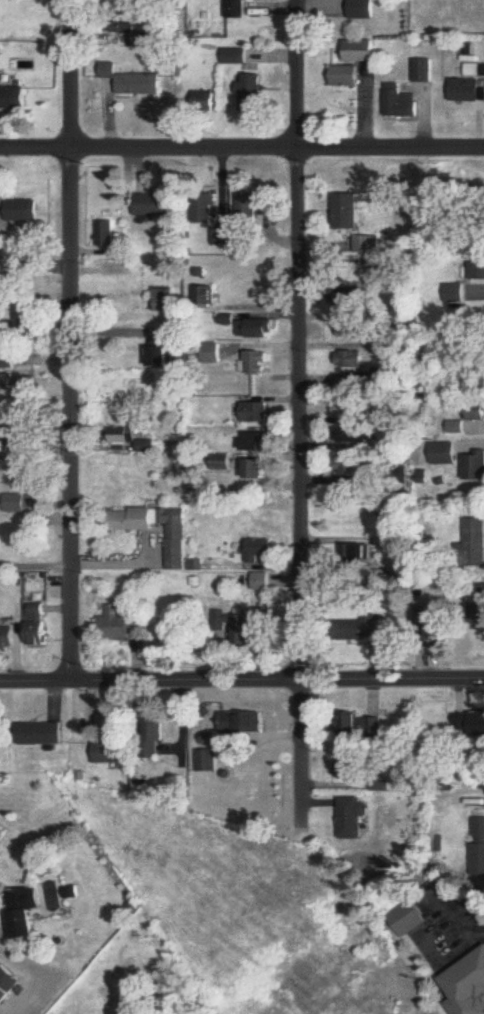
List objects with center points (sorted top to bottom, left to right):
building: (236, 9)
building: (363, 9)
building: (127, 29)
building: (361, 52)
building: (236, 57)
building: (2, 65)
building: (423, 71)
building: (347, 77)
building: (135, 82)
building: (254, 91)
building: (467, 91)
building: (14, 99)
building: (401, 103)
road: (242, 153)
building: (155, 206)
building: (206, 209)
building: (250, 210)
building: (25, 211)
building: (348, 212)
building: (107, 234)
building: (223, 237)
building: (368, 245)
building: (478, 271)
building: (456, 294)
building: (207, 296)
building: (353, 298)
building: (165, 300)
building: (228, 320)
building: (258, 329)
building: (357, 330)
road: (75, 342)
building: (214, 353)
building: (160, 354)
building: (353, 360)
building: (8, 361)
building: (260, 364)
building: (359, 383)
building: (23, 387)
building: (354, 410)
building: (475, 411)
building: (257, 413)
road: (302, 418)
building: (458, 427)
building: (126, 435)
building: (358, 436)
building: (260, 442)
building: (149, 446)
building: (446, 454)
building: (474, 466)
building: (351, 467)
building: (258, 470)
building: (21, 504)
building: (133, 520)
building: (174, 538)
building: (476, 544)
building: (259, 551)
building: (357, 556)
building: (261, 583)
building: (478, 615)
building: (38, 625)
building: (123, 626)
building: (435, 626)
building: (221, 629)
building: (360, 630)
building: (243, 631)
building: (263, 632)
building: (8, 637)
road: (241, 684)
building: (242, 723)
building: (469, 724)
building: (363, 727)
building: (43, 734)
building: (154, 734)
building: (111, 753)
building: (208, 753)
building: (349, 770)
building: (351, 818)
building: (478, 848)
building: (1, 856)
building: (74, 893)
building: (27, 912)
building: (406, 919)
road: (445, 957)
building: (8, 986)
building: (467, 987)

